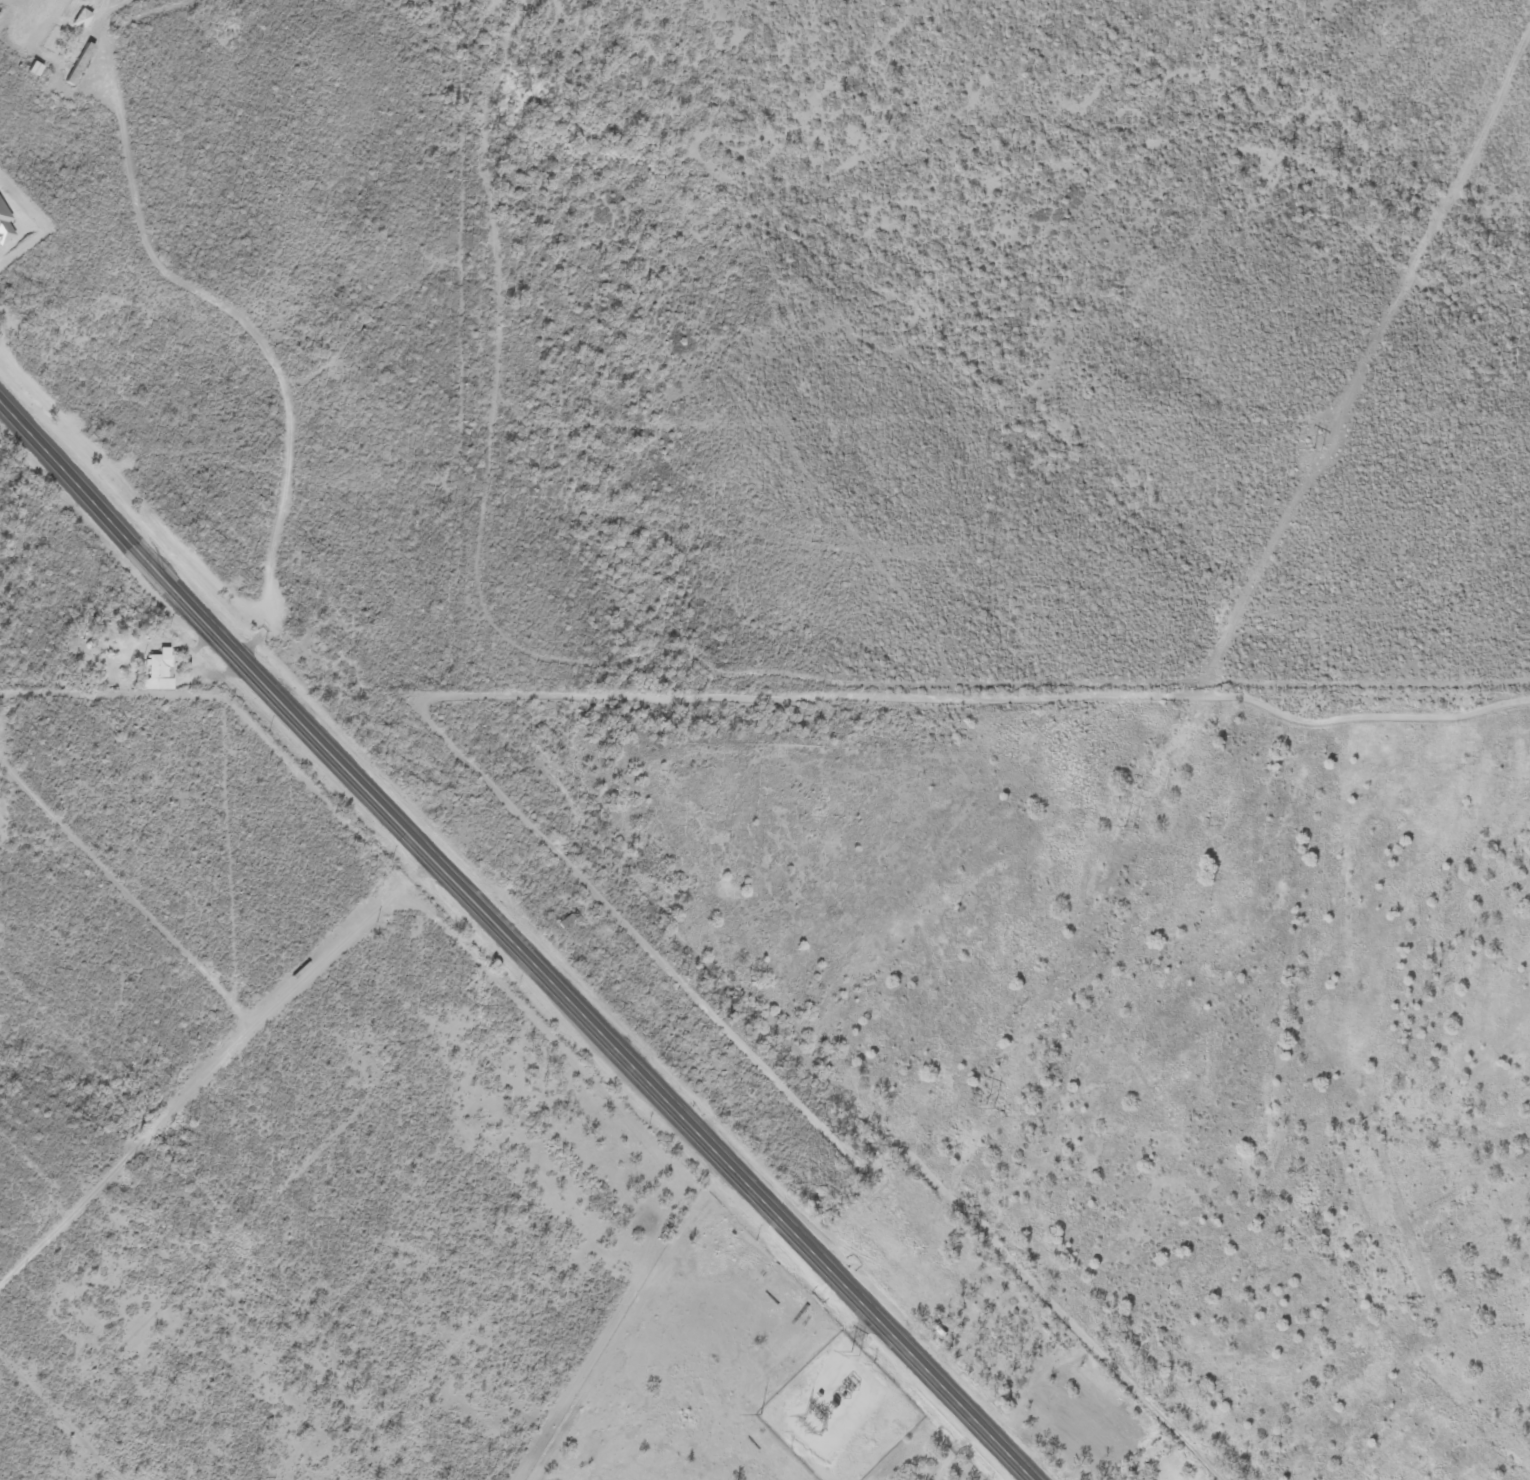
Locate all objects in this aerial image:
building: (76, 21)
building: (74, 66)
building: (30, 71)
road: (246, 333)
power tower: (1318, 450)
building: (154, 671)
power tower: (1128, 829)
building: (570, 918)
road: (512, 943)
power tower: (994, 1107)
road: (233, 1233)
power tower: (854, 1354)
road: (152, 1359)
power substation: (840, 1412)

